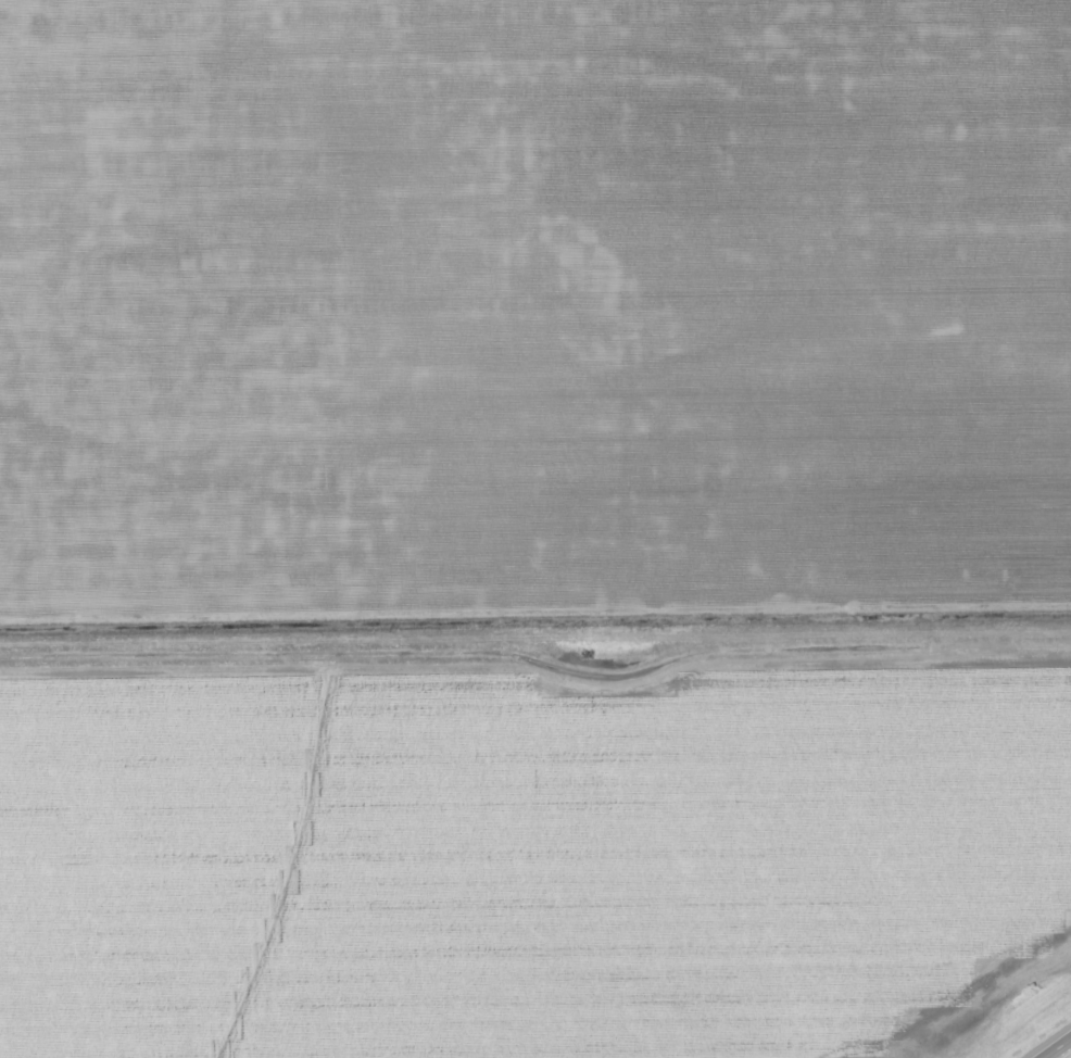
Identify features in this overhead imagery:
road: (1060, 1050)

